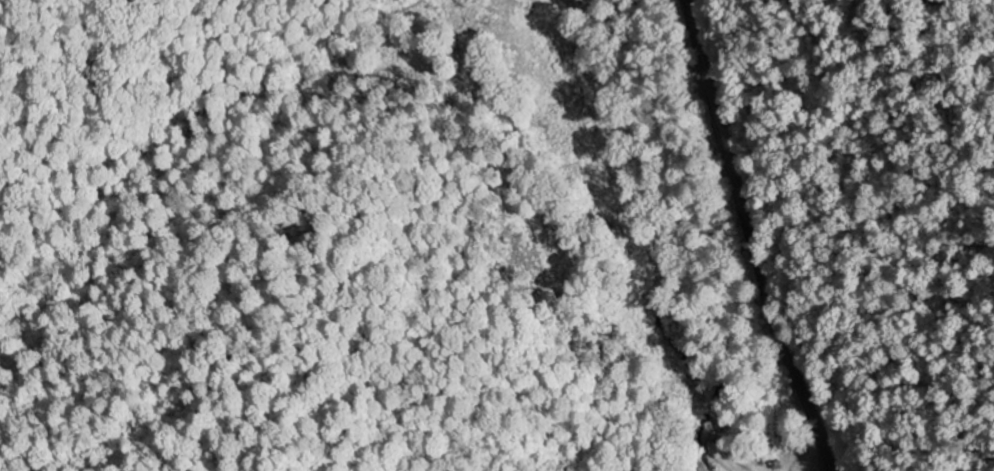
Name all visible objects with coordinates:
road: (753, 238)

